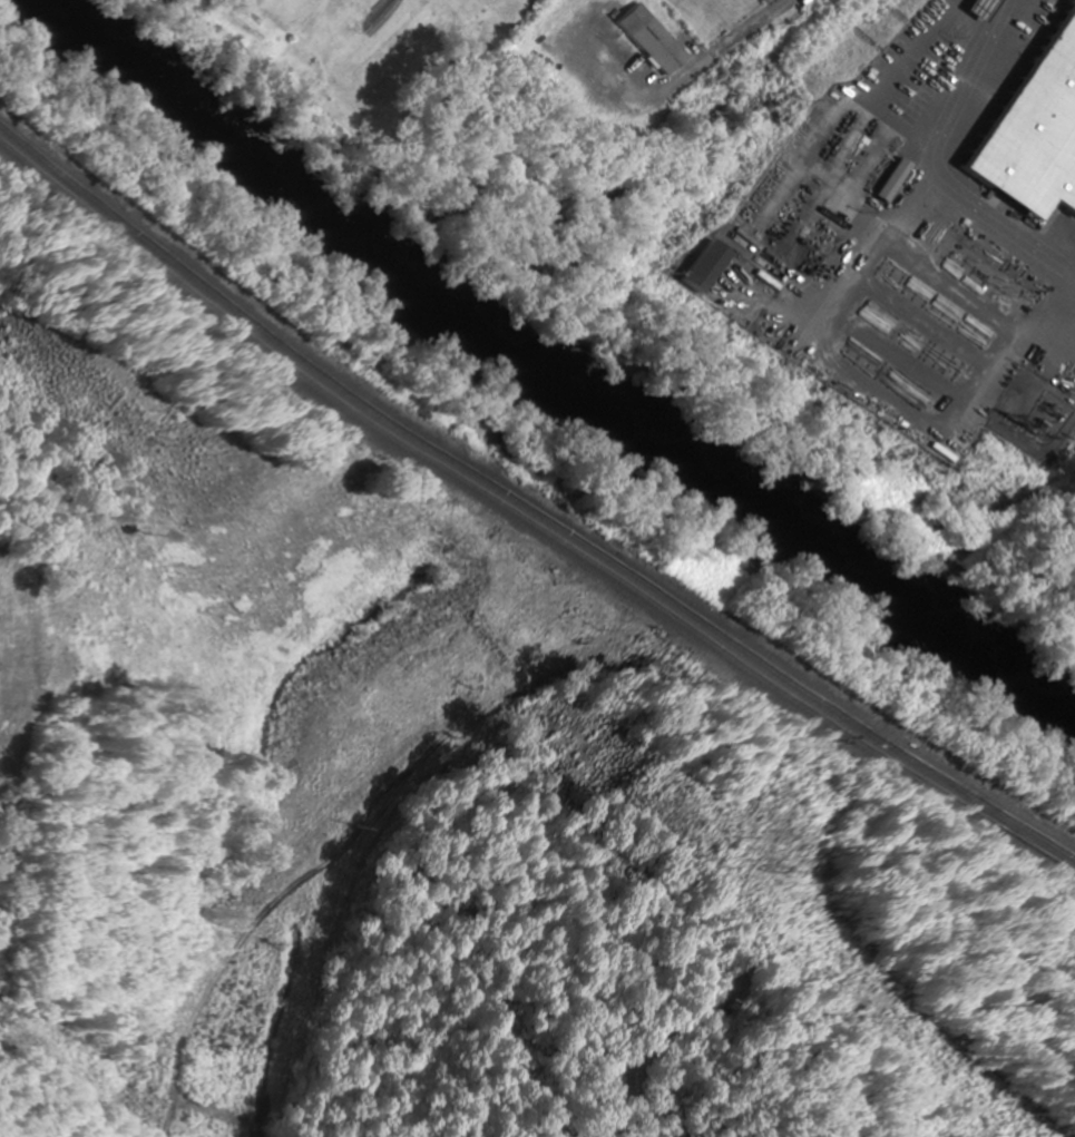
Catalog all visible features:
building: (971, 8)
building: (637, 40)
road: (720, 45)
road: (960, 75)
building: (1030, 129)
building: (688, 269)
river: (545, 376)
railway: (526, 512)

